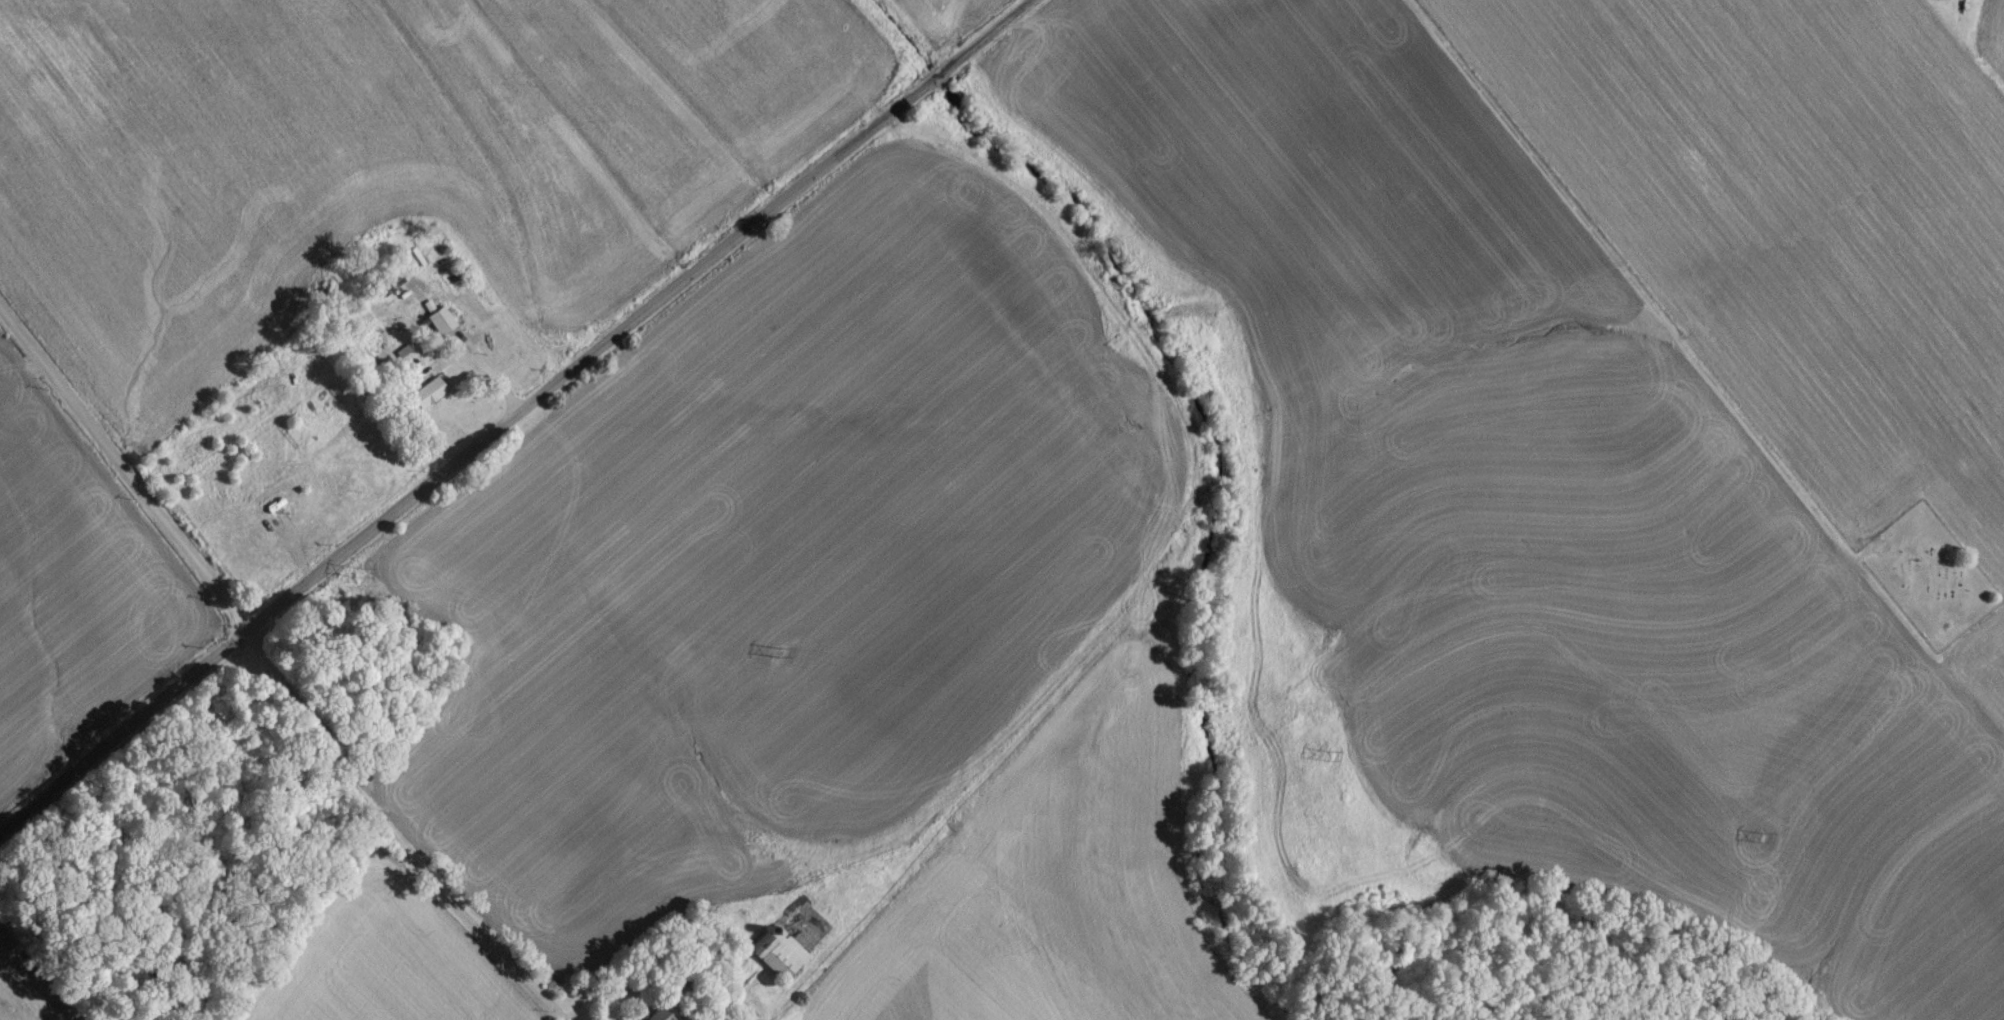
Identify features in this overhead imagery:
building: (1965, 1)
building: (434, 404)
road: (518, 419)
road: (126, 475)
road: (393, 841)
building: (775, 958)
building: (662, 1015)

